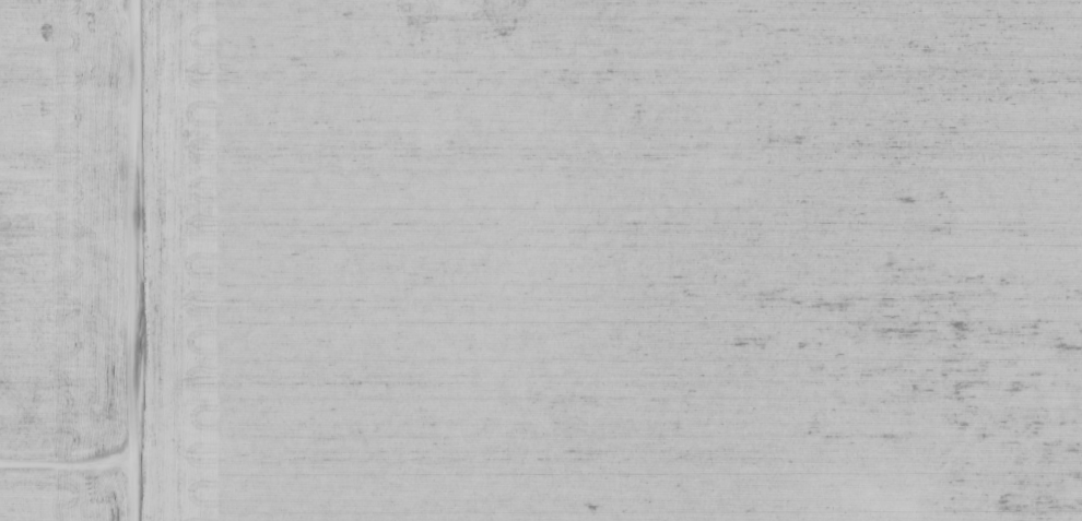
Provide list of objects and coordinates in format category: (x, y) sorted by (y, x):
road: (141, 260)

